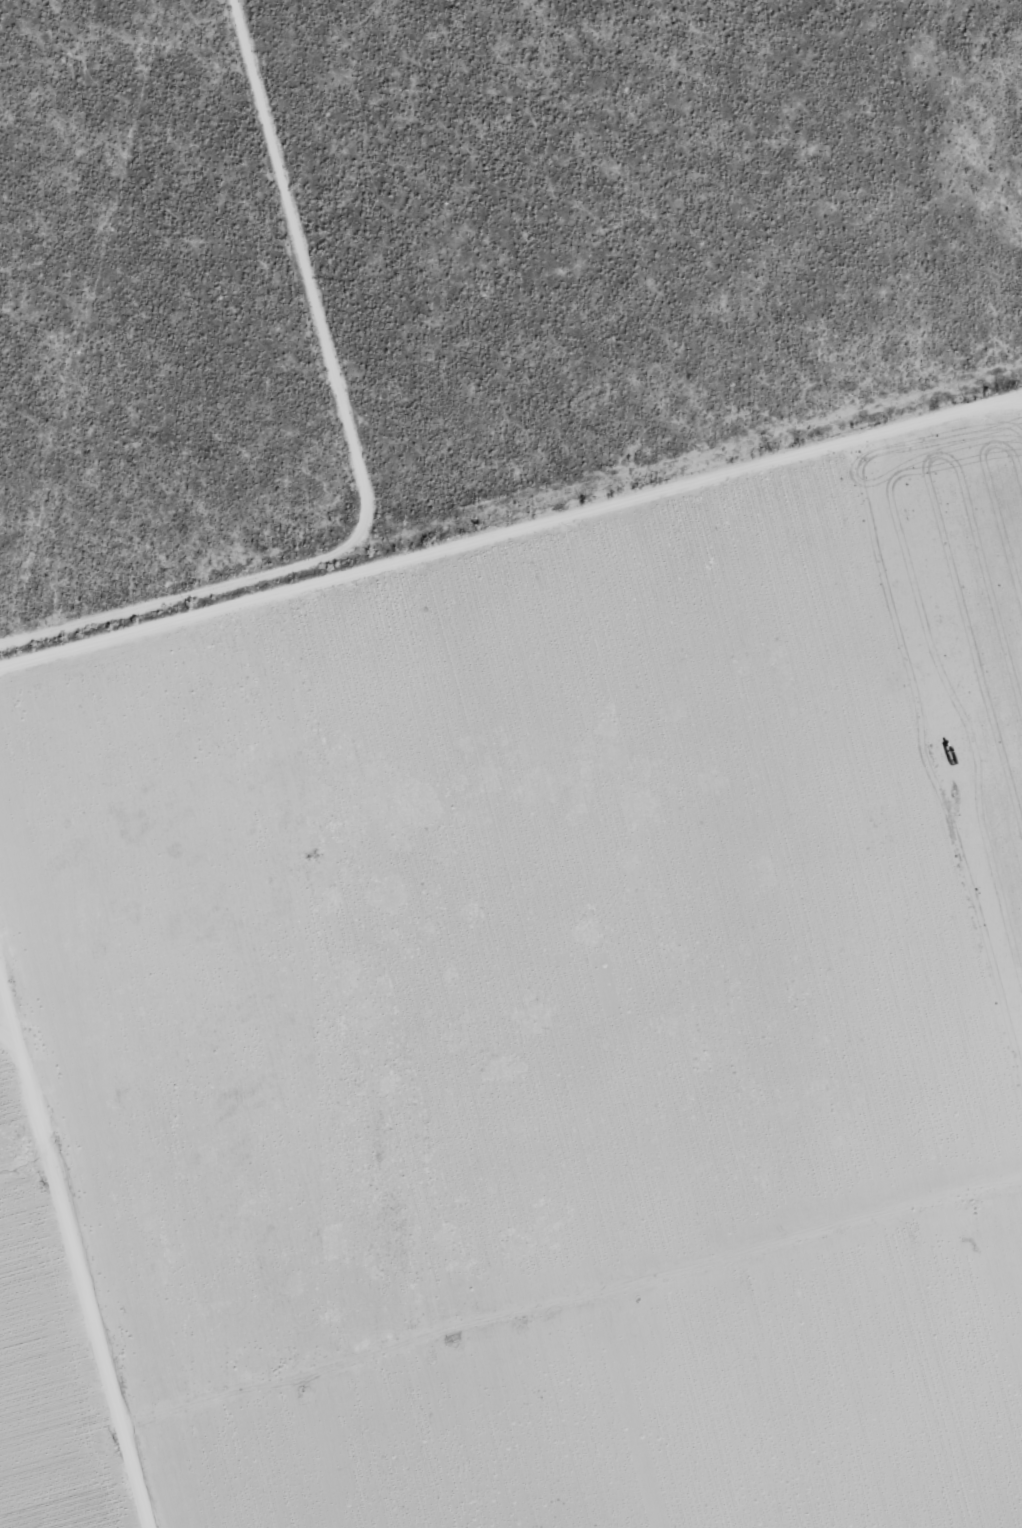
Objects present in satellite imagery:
road: (288, 296)
road: (510, 561)
road: (70, 1282)

